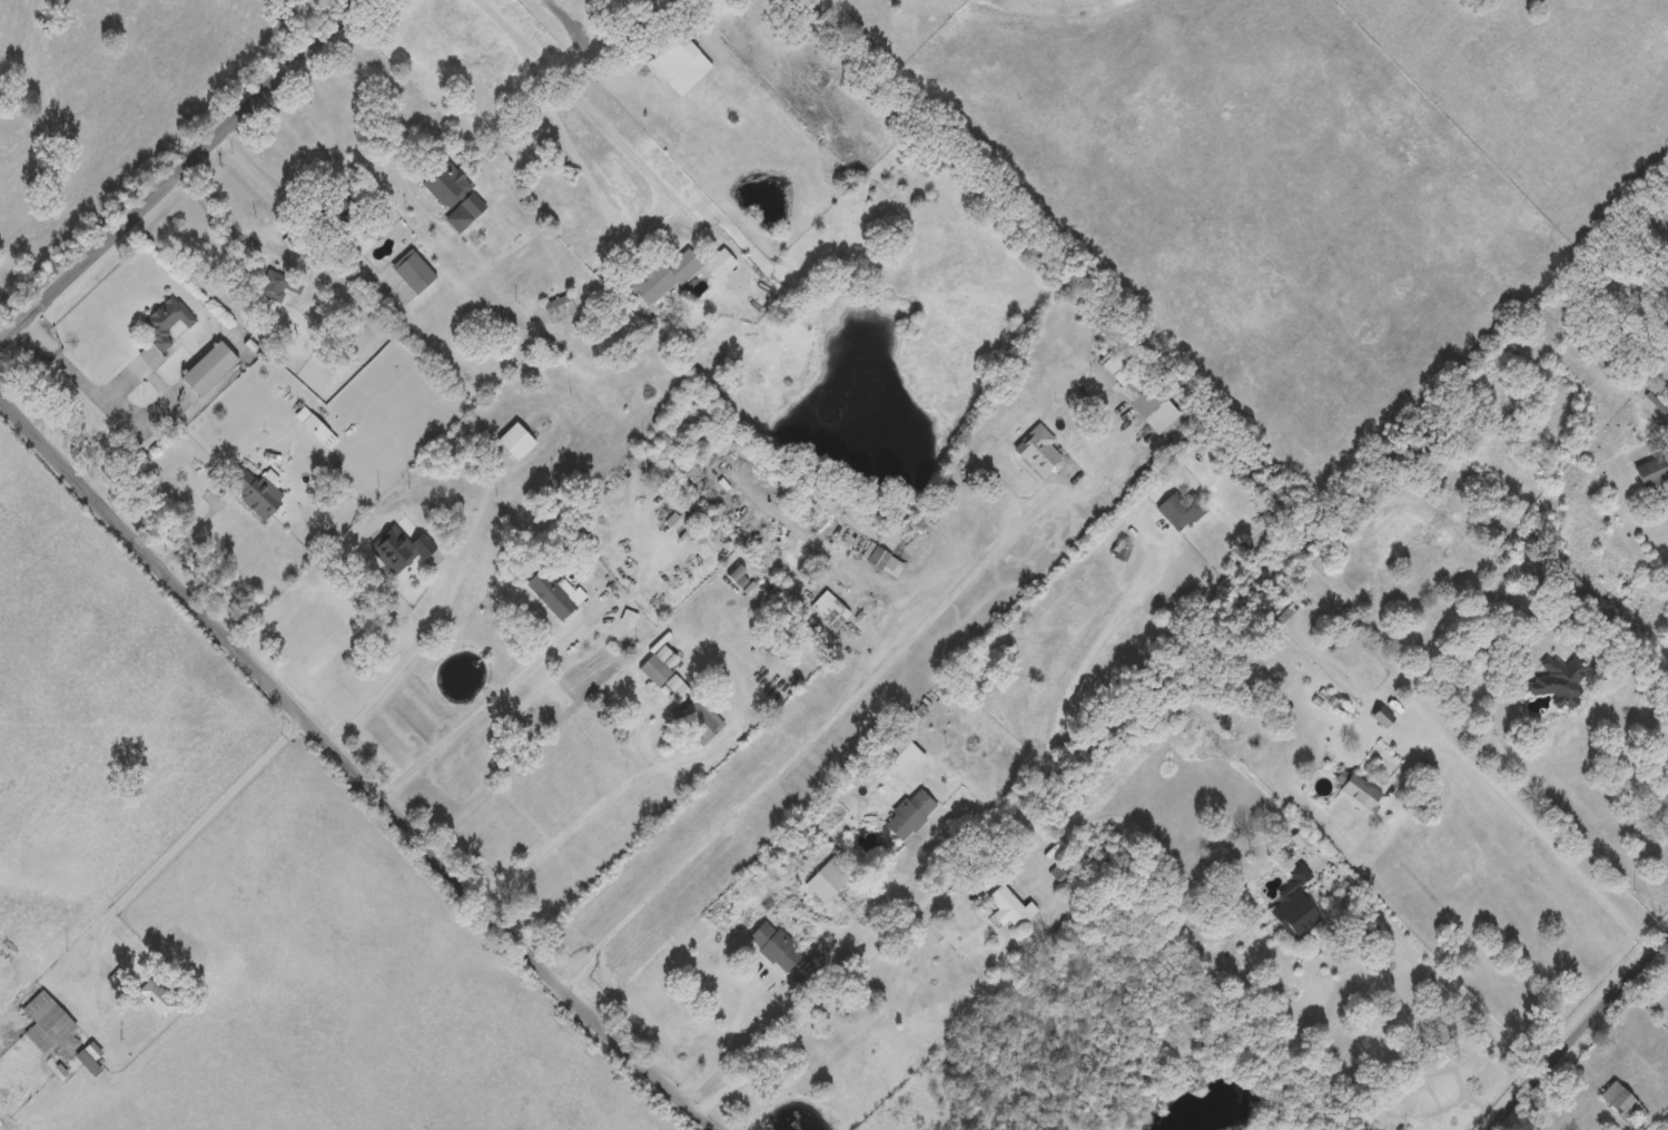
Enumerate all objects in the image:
road: (584, 32)
building: (670, 55)
road: (385, 111)
road: (230, 121)
road: (615, 132)
road: (263, 166)
building: (452, 189)
building: (336, 203)
road: (217, 213)
building: (719, 263)
building: (413, 271)
building: (663, 276)
building: (277, 284)
road: (51, 294)
building: (557, 307)
building: (162, 328)
building: (207, 366)
road: (78, 375)
building: (1136, 389)
building: (315, 425)
building: (514, 440)
road: (46, 445)
building: (1038, 451)
building: (1649, 471)
building: (253, 490)
building: (1180, 509)
building: (401, 547)
building: (879, 557)
building: (553, 596)
building: (1576, 597)
building: (830, 608)
road: (1641, 649)
road: (403, 660)
building: (655, 668)
building: (1557, 675)
road: (483, 702)
building: (1378, 710)
building: (699, 717)
road: (826, 726)
building: (1355, 786)
road: (599, 799)
building: (908, 813)
road: (402, 818)
road: (181, 835)
road: (1559, 844)
road: (966, 855)
building: (828, 876)
building: (1293, 904)
building: (1009, 906)
building: (774, 944)
road: (1659, 961)
road: (1442, 983)
building: (155, 996)
building: (46, 1020)
road: (746, 1029)
road: (1581, 1034)
building: (89, 1057)
building: (1625, 1104)

